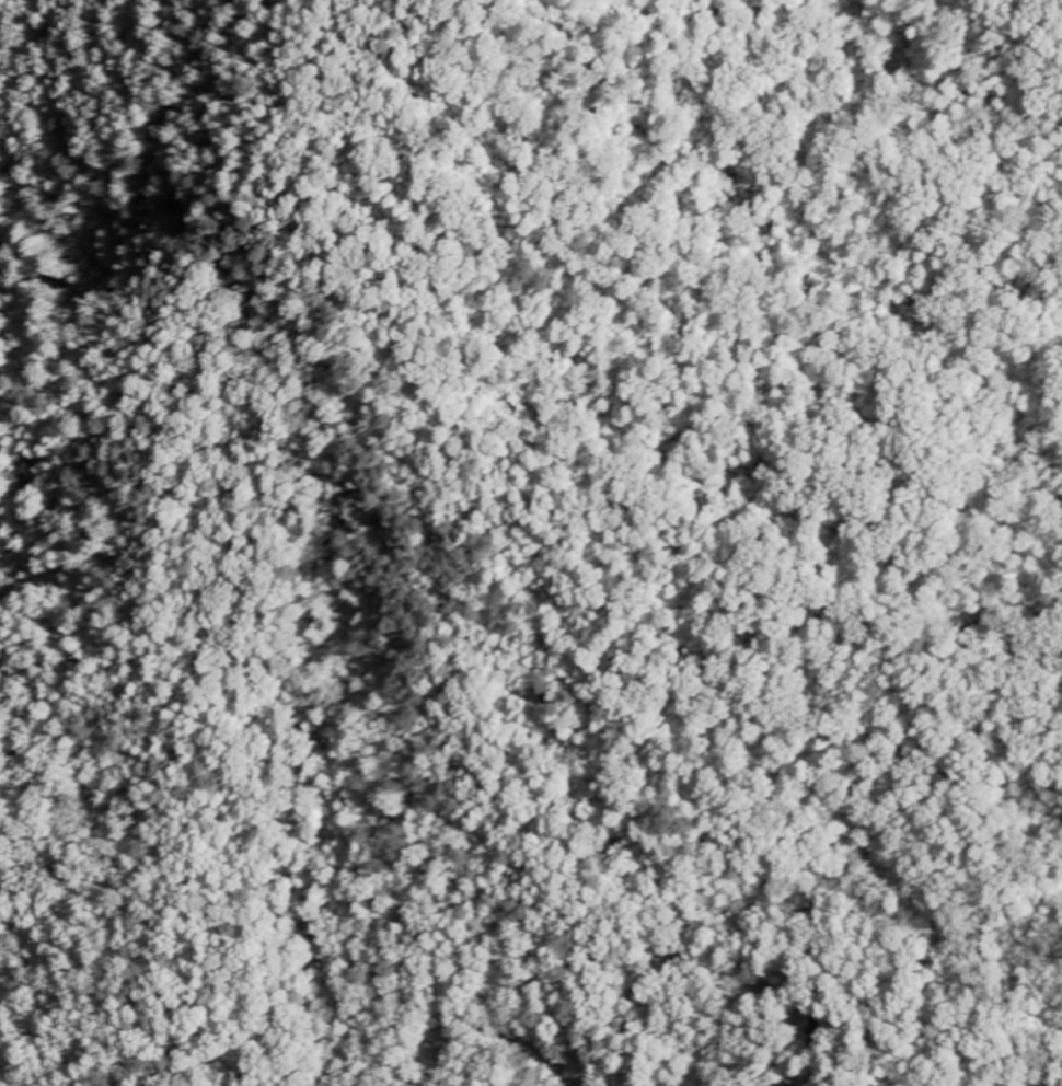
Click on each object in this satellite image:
road: (519, 1041)

